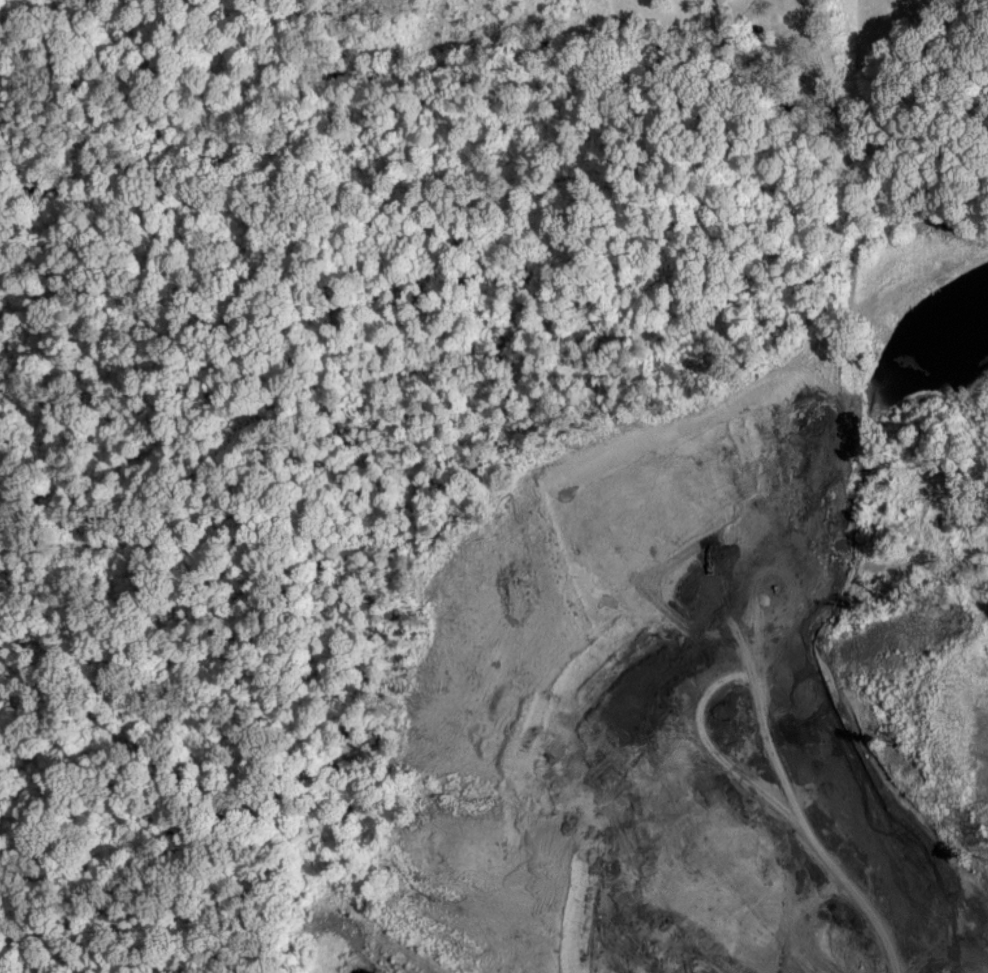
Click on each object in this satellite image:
road: (824, 303)

